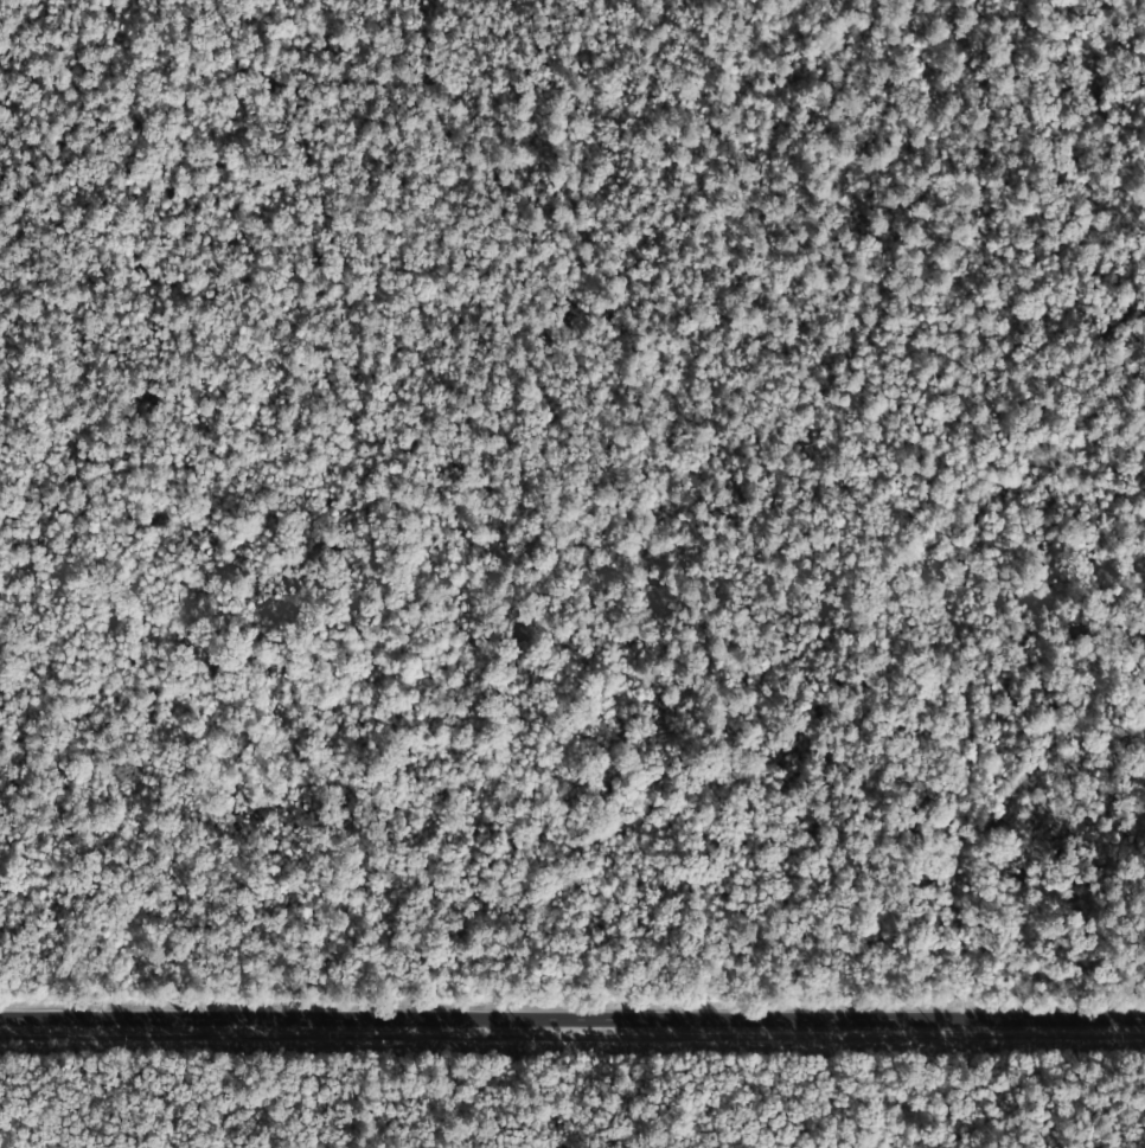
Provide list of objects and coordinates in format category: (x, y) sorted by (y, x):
road: (572, 1016)

